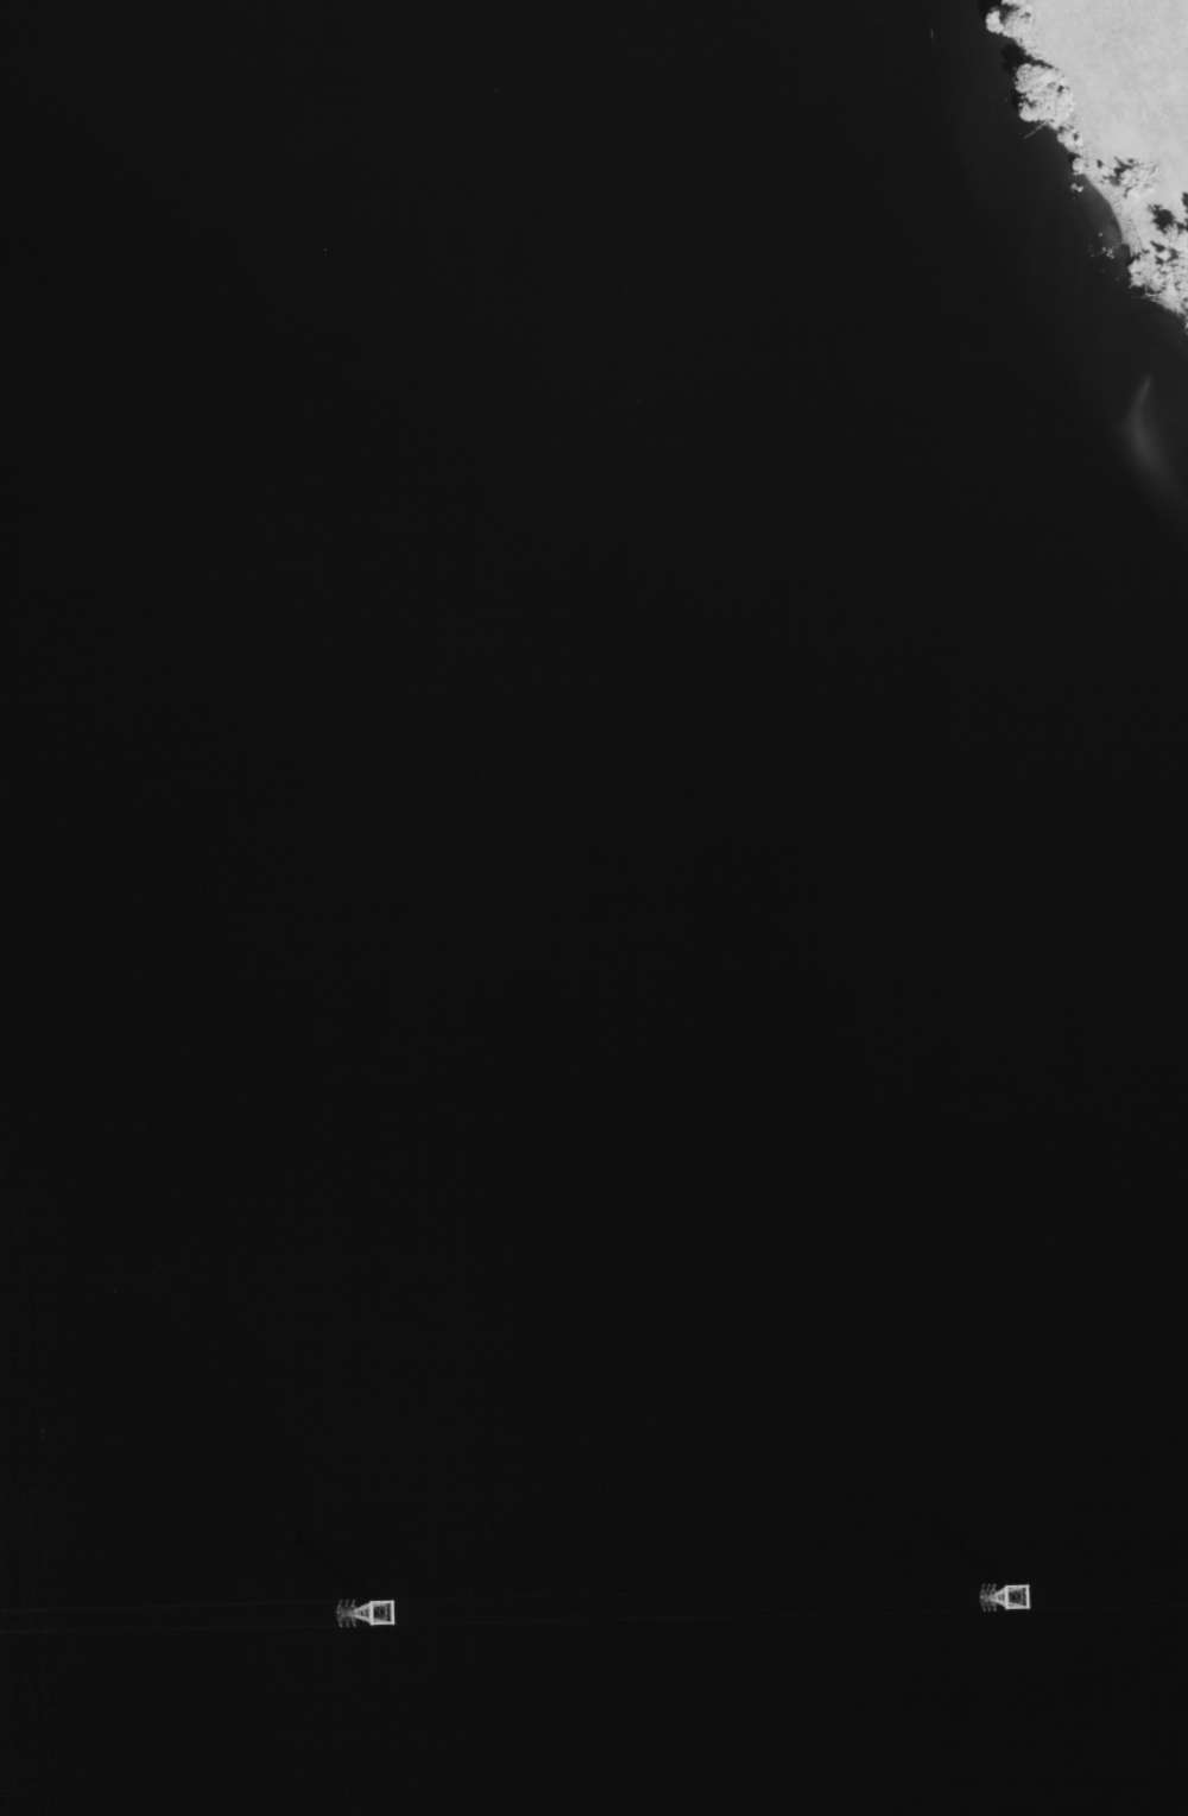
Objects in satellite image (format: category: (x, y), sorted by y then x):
power tower: (1011, 1596)
power tower: (379, 1610)

